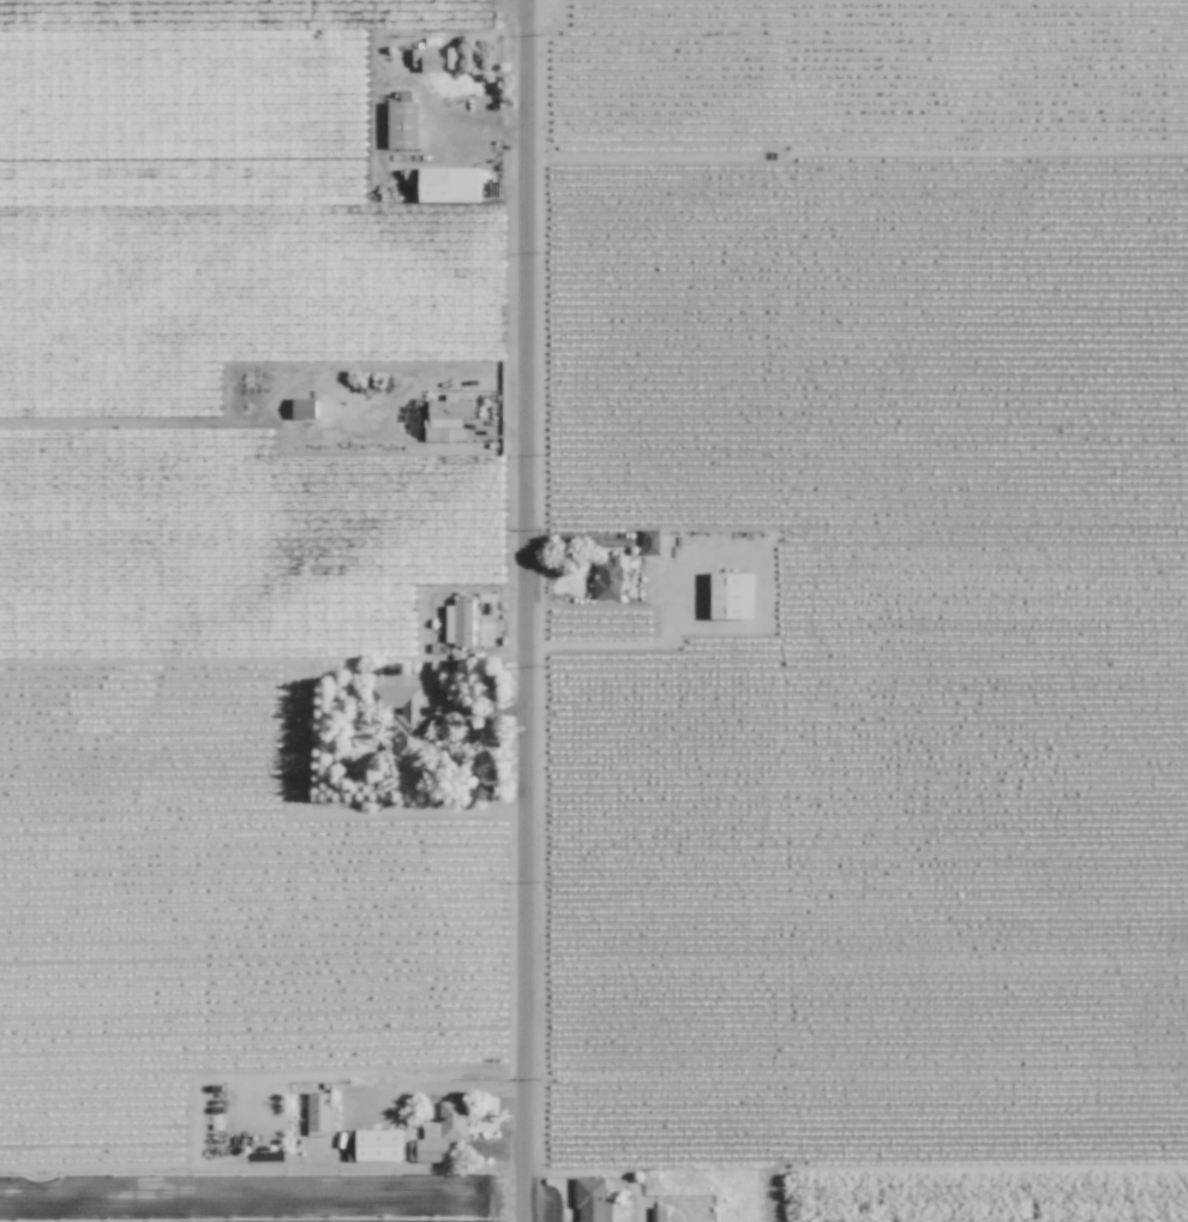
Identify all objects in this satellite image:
building: (434, 59)
building: (402, 125)
building: (448, 185)
building: (302, 408)
building: (445, 418)
building: (648, 541)
building: (608, 576)
building: (731, 595)
road: (521, 610)
building: (458, 623)
building: (402, 720)
road: (436, 1090)
building: (319, 1114)
building: (440, 1132)
building: (377, 1145)
crop: (992, 1199)
building: (590, 1200)
building: (658, 1214)

